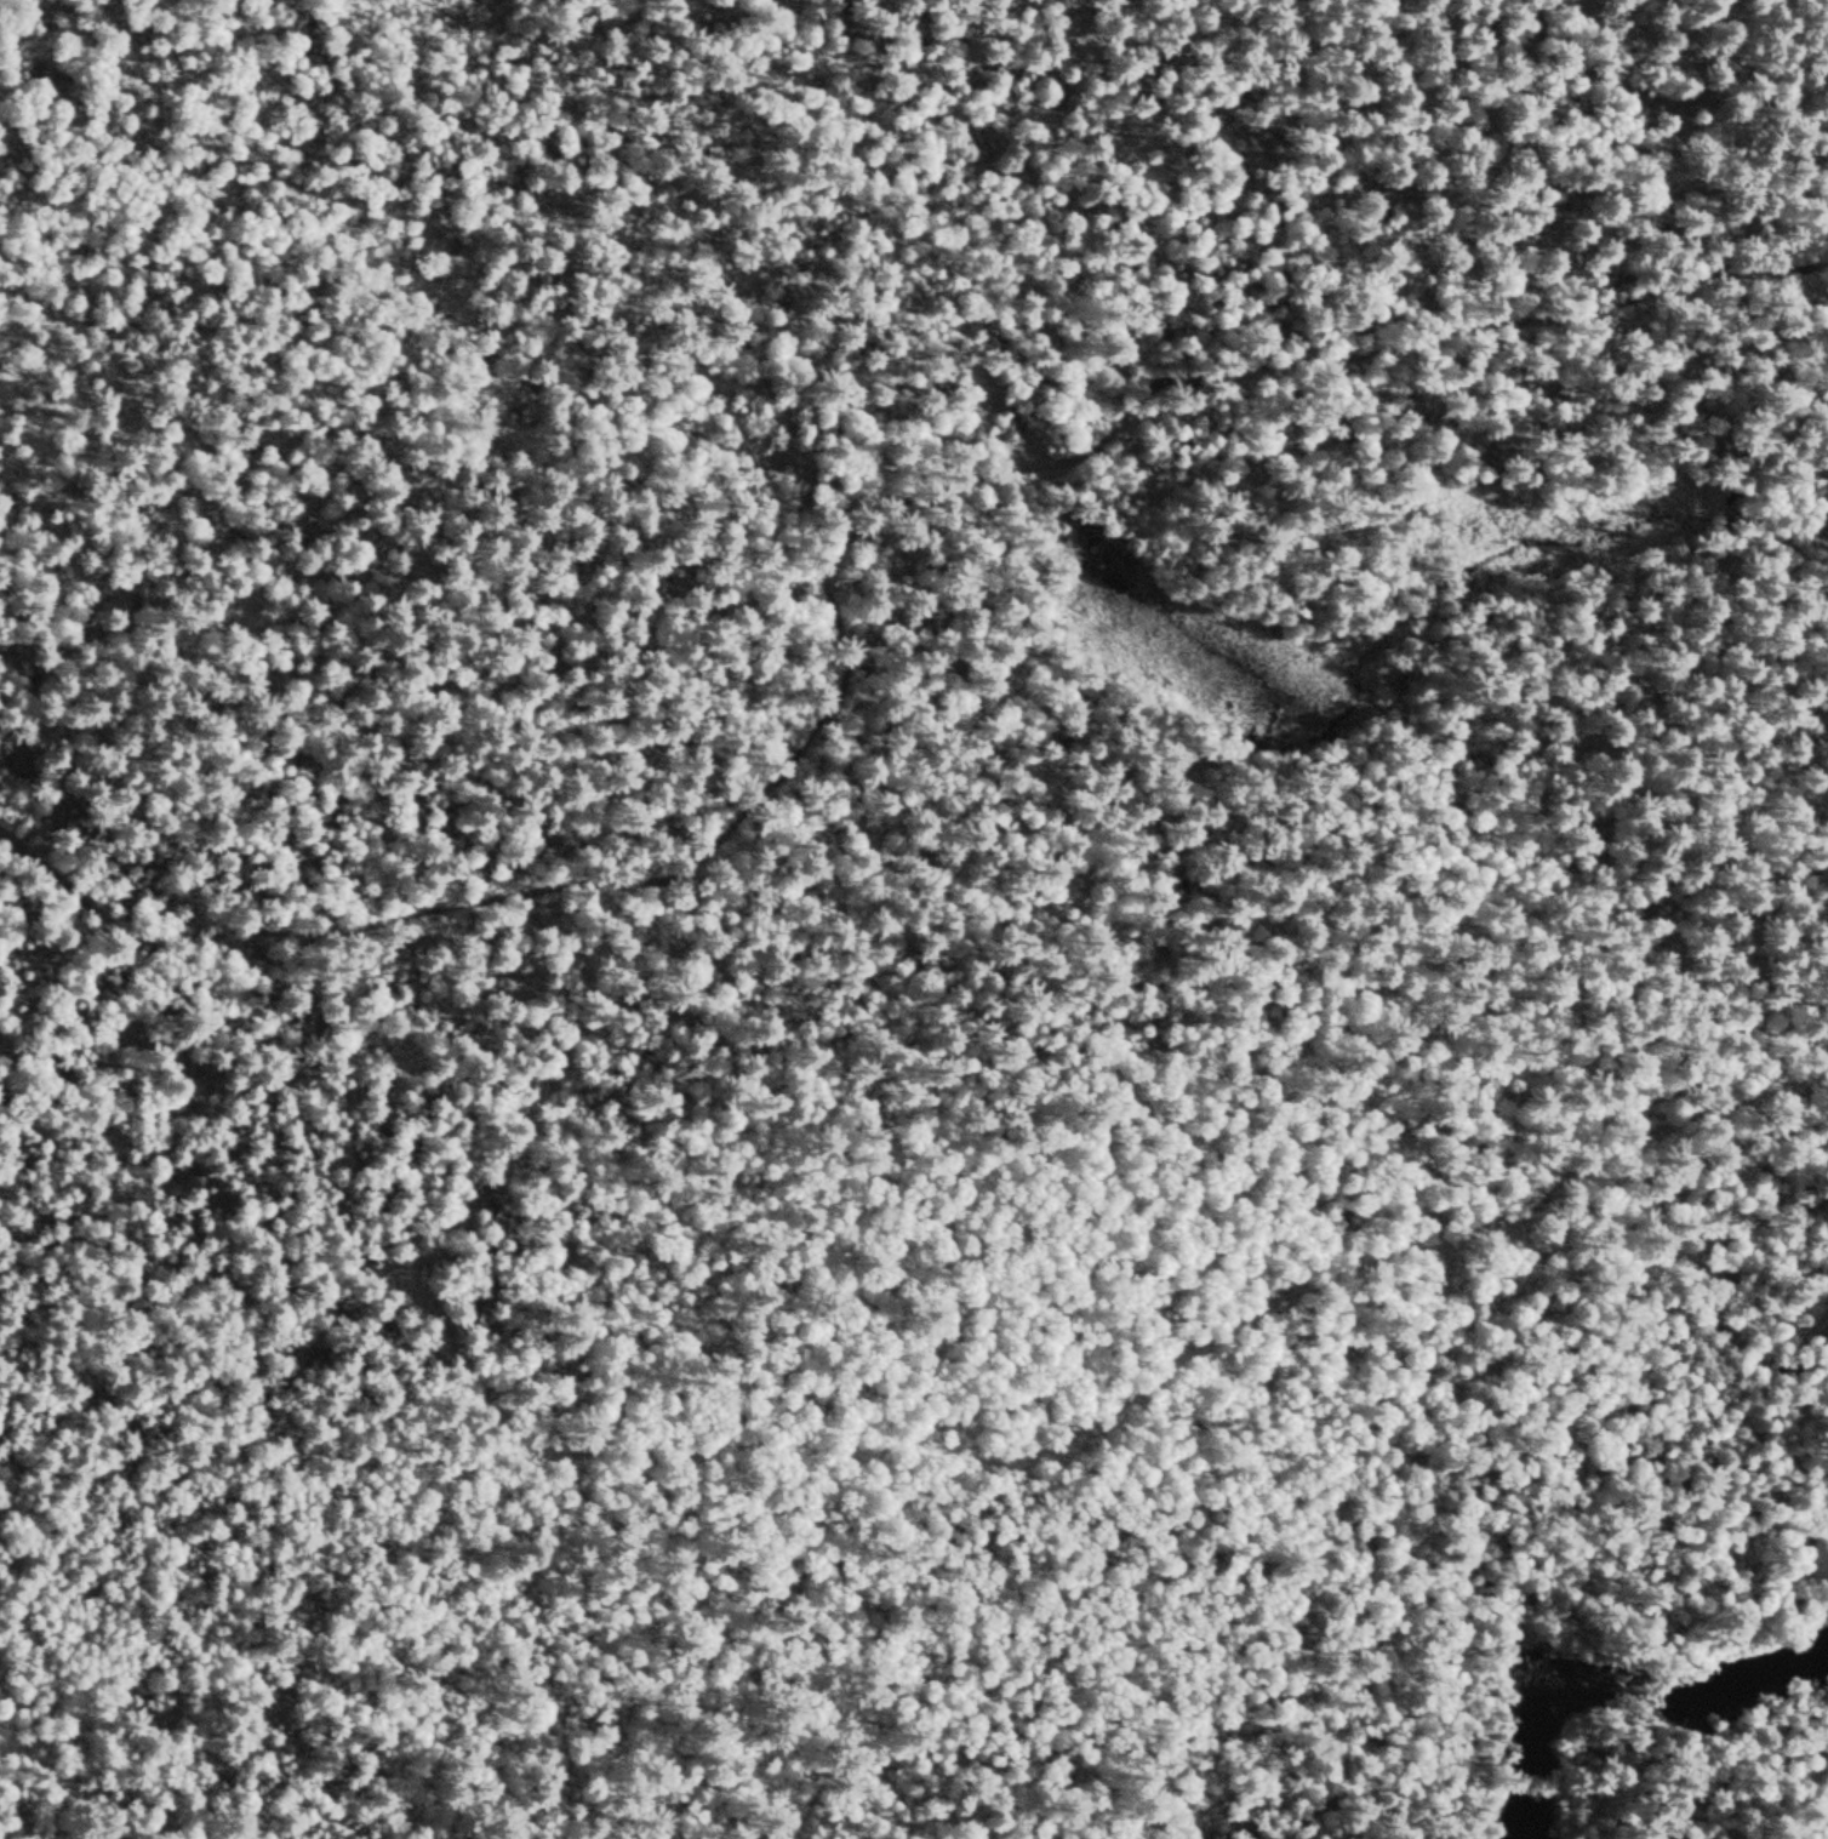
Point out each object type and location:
river: (1605, 1675)

